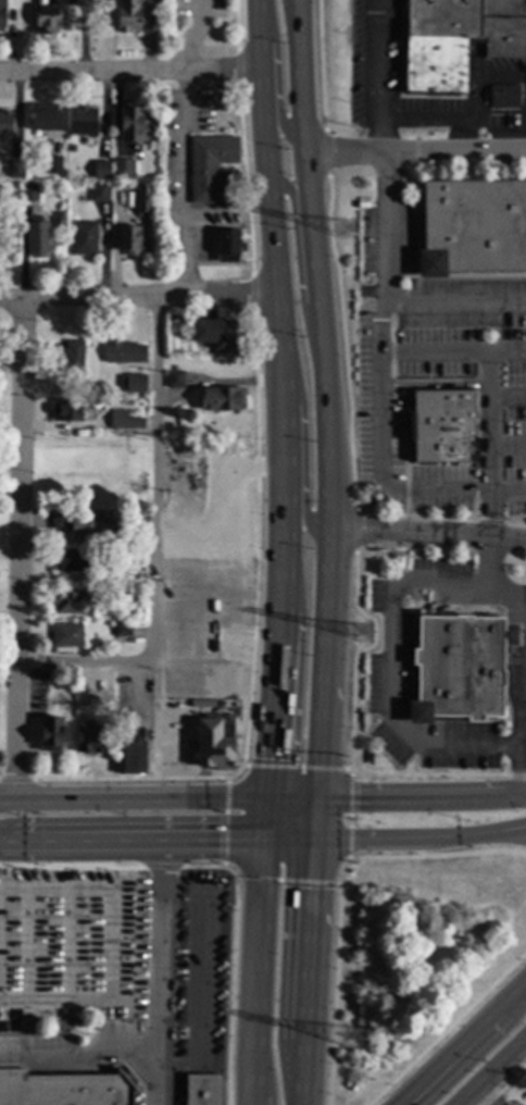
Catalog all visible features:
building: (2, 14)
building: (127, 14)
building: (48, 18)
road: (290, 18)
road: (193, 37)
building: (455, 41)
road: (129, 73)
road: (375, 76)
road: (276, 82)
building: (505, 97)
building: (43, 116)
building: (83, 120)
building: (5, 123)
building: (130, 123)
road: (413, 152)
building: (54, 164)
building: (212, 167)
building: (123, 169)
building: (15, 170)
building: (102, 170)
road: (184, 186)
building: (30, 193)
building: (100, 193)
building: (143, 199)
building: (472, 226)
power tower: (346, 231)
building: (7, 237)
building: (37, 238)
building: (84, 238)
building: (133, 240)
building: (228, 246)
road: (274, 264)
road: (298, 269)
road: (138, 300)
road: (458, 305)
building: (217, 334)
road: (451, 343)
building: (124, 352)
building: (73, 360)
parking lot: (437, 373)
building: (175, 378)
building: (136, 383)
building: (91, 386)
road: (508, 388)
road: (379, 397)
building: (222, 398)
building: (66, 410)
building: (125, 420)
building: (441, 425)
road: (489, 427)
road: (508, 434)
road: (301, 452)
road: (156, 481)
building: (84, 525)
road: (426, 536)
road: (328, 551)
road: (18, 552)
building: (136, 557)
building: (72, 560)
building: (140, 579)
building: (124, 596)
road: (524, 600)
building: (71, 601)
building: (123, 630)
power tower: (364, 633)
building: (66, 634)
road: (84, 659)
building: (459, 667)
building: (45, 672)
building: (71, 686)
road: (274, 686)
road: (524, 705)
building: (53, 734)
building: (91, 737)
road: (406, 740)
building: (216, 742)
building: (134, 753)
building: (368, 757)
road: (523, 773)
road: (525, 797)
road: (525, 797)
road: (131, 802)
traffic signals: (265, 802)
traffic signals: (320, 803)
road: (394, 803)
road: (513, 831)
road: (454, 836)
road: (513, 836)
road: (130, 841)
traffic signals: (263, 842)
road: (289, 842)
road: (362, 842)
traffic signals: (316, 843)
road: (415, 849)
road: (474, 853)
road: (160, 972)
road: (255, 972)
building: (78, 1021)
power tower: (355, 1041)
road: (463, 1043)
road: (79, 1058)
road: (492, 1072)
building: (64, 1089)
building: (201, 1089)
road: (484, 1096)

